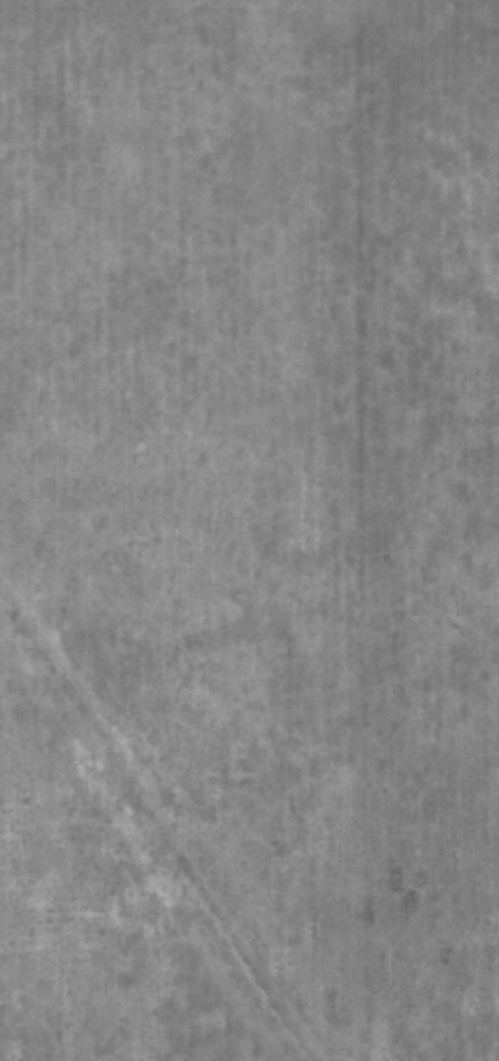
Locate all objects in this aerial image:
road: (174, 800)

